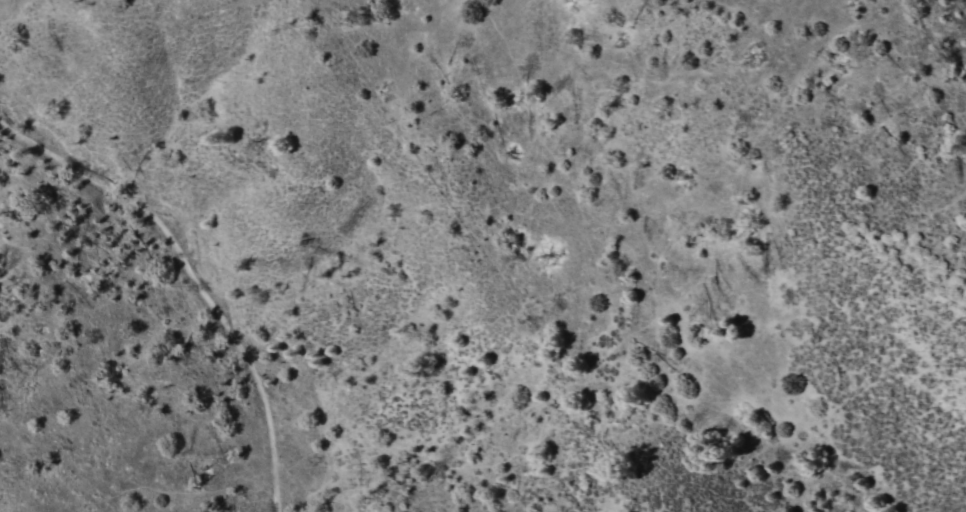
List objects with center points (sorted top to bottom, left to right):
road: (195, 280)

